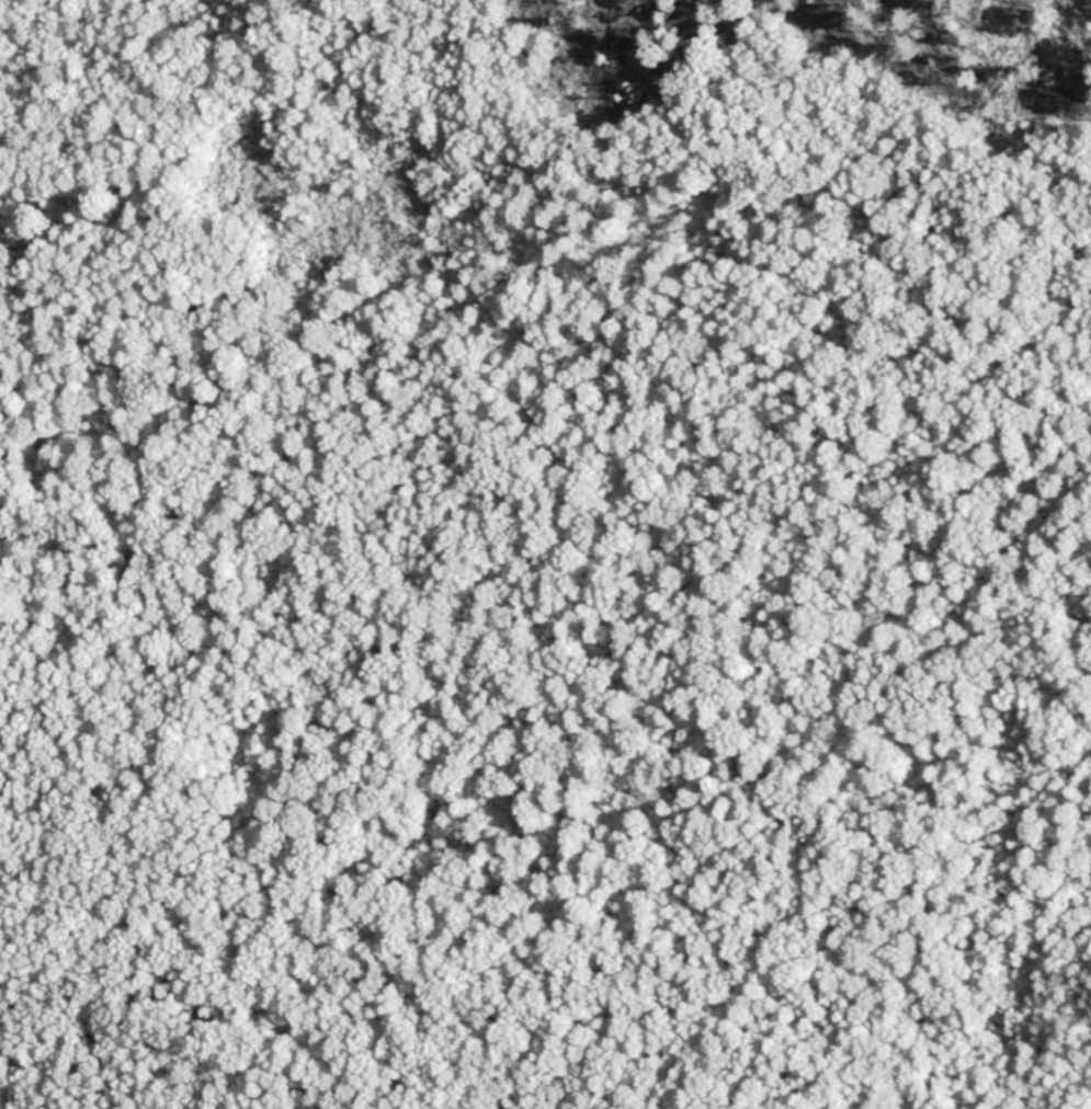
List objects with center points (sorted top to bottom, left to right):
park: (545, 554)

